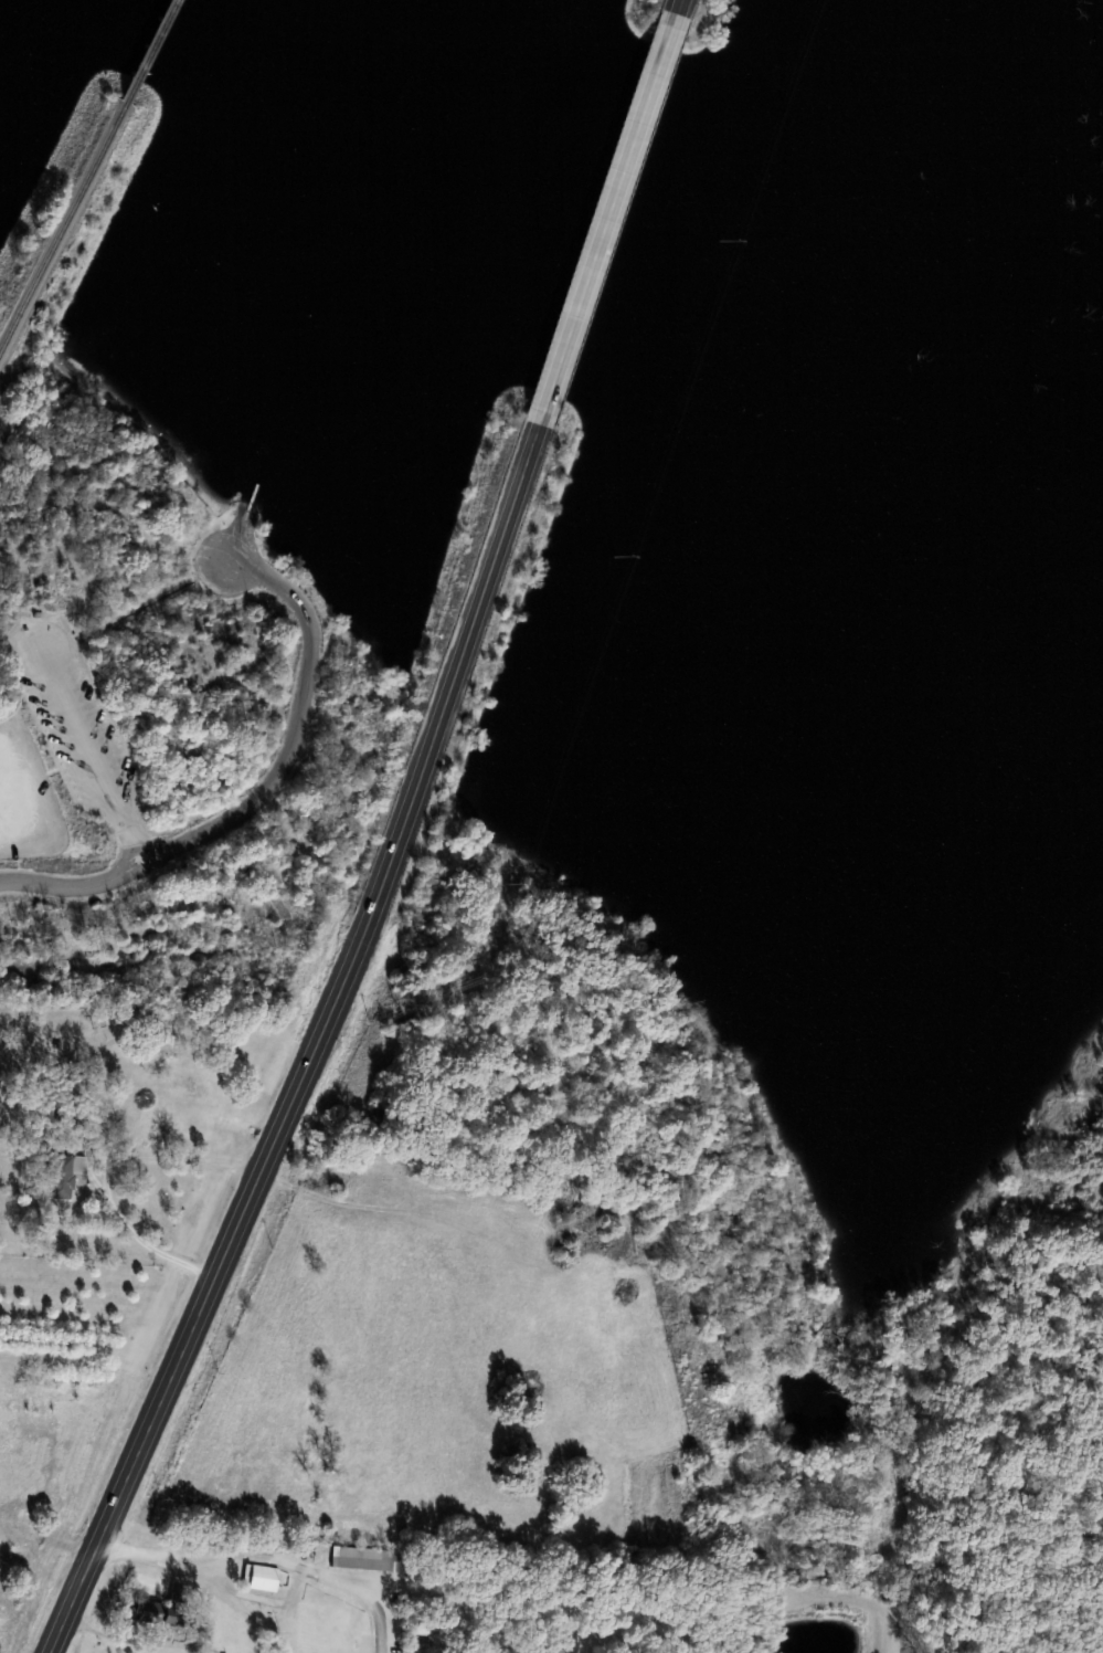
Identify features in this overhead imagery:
road: (675, 9)
railway: (146, 48)
railway: (61, 218)
road: (606, 218)
road: (259, 789)
road: (315, 1042)
road: (109, 1171)
building: (63, 1175)
road: (268, 1556)
building: (263, 1578)
building: (151, 1612)

